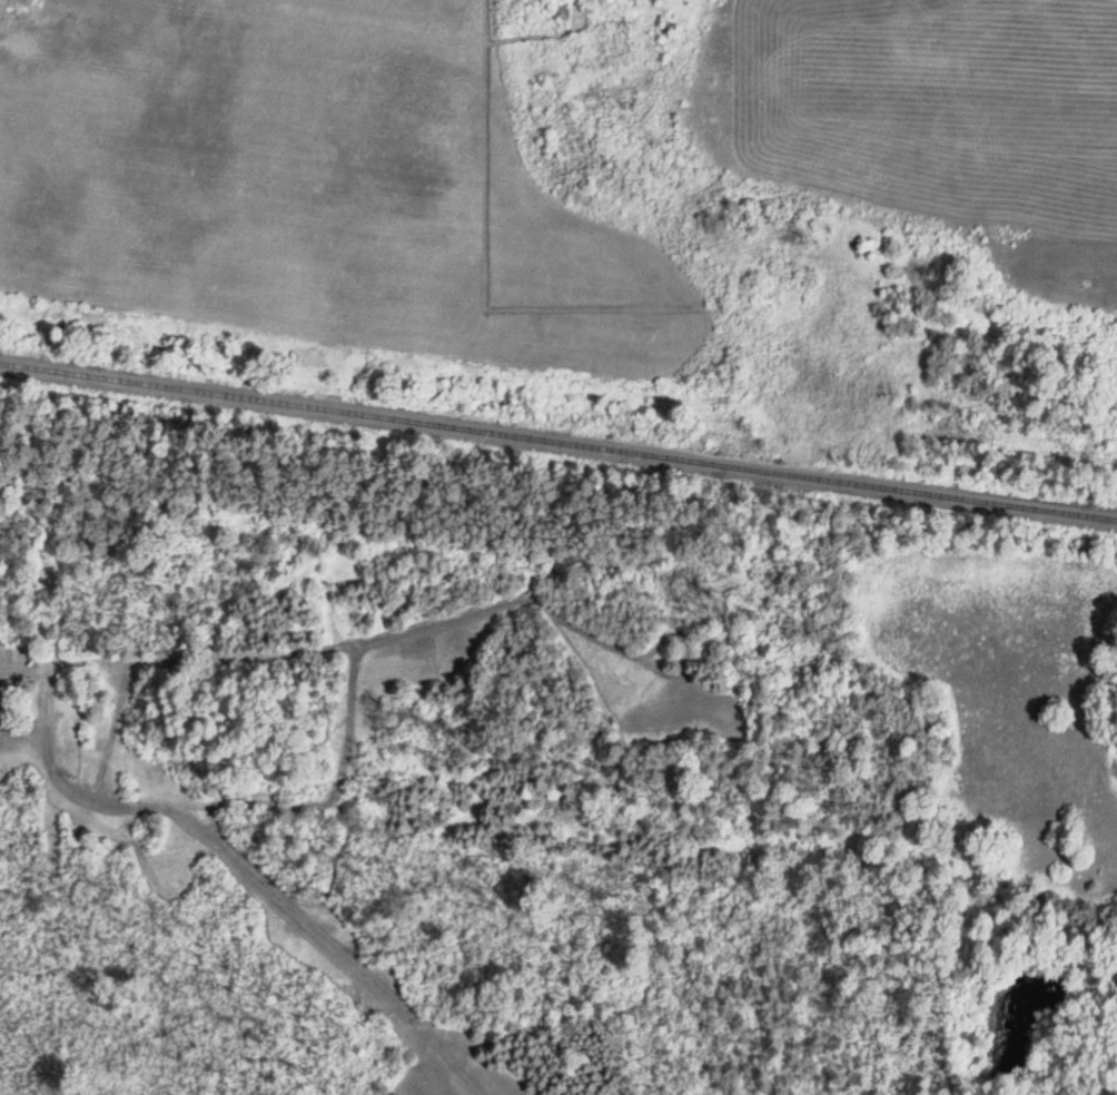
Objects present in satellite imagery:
railway: (558, 423)

